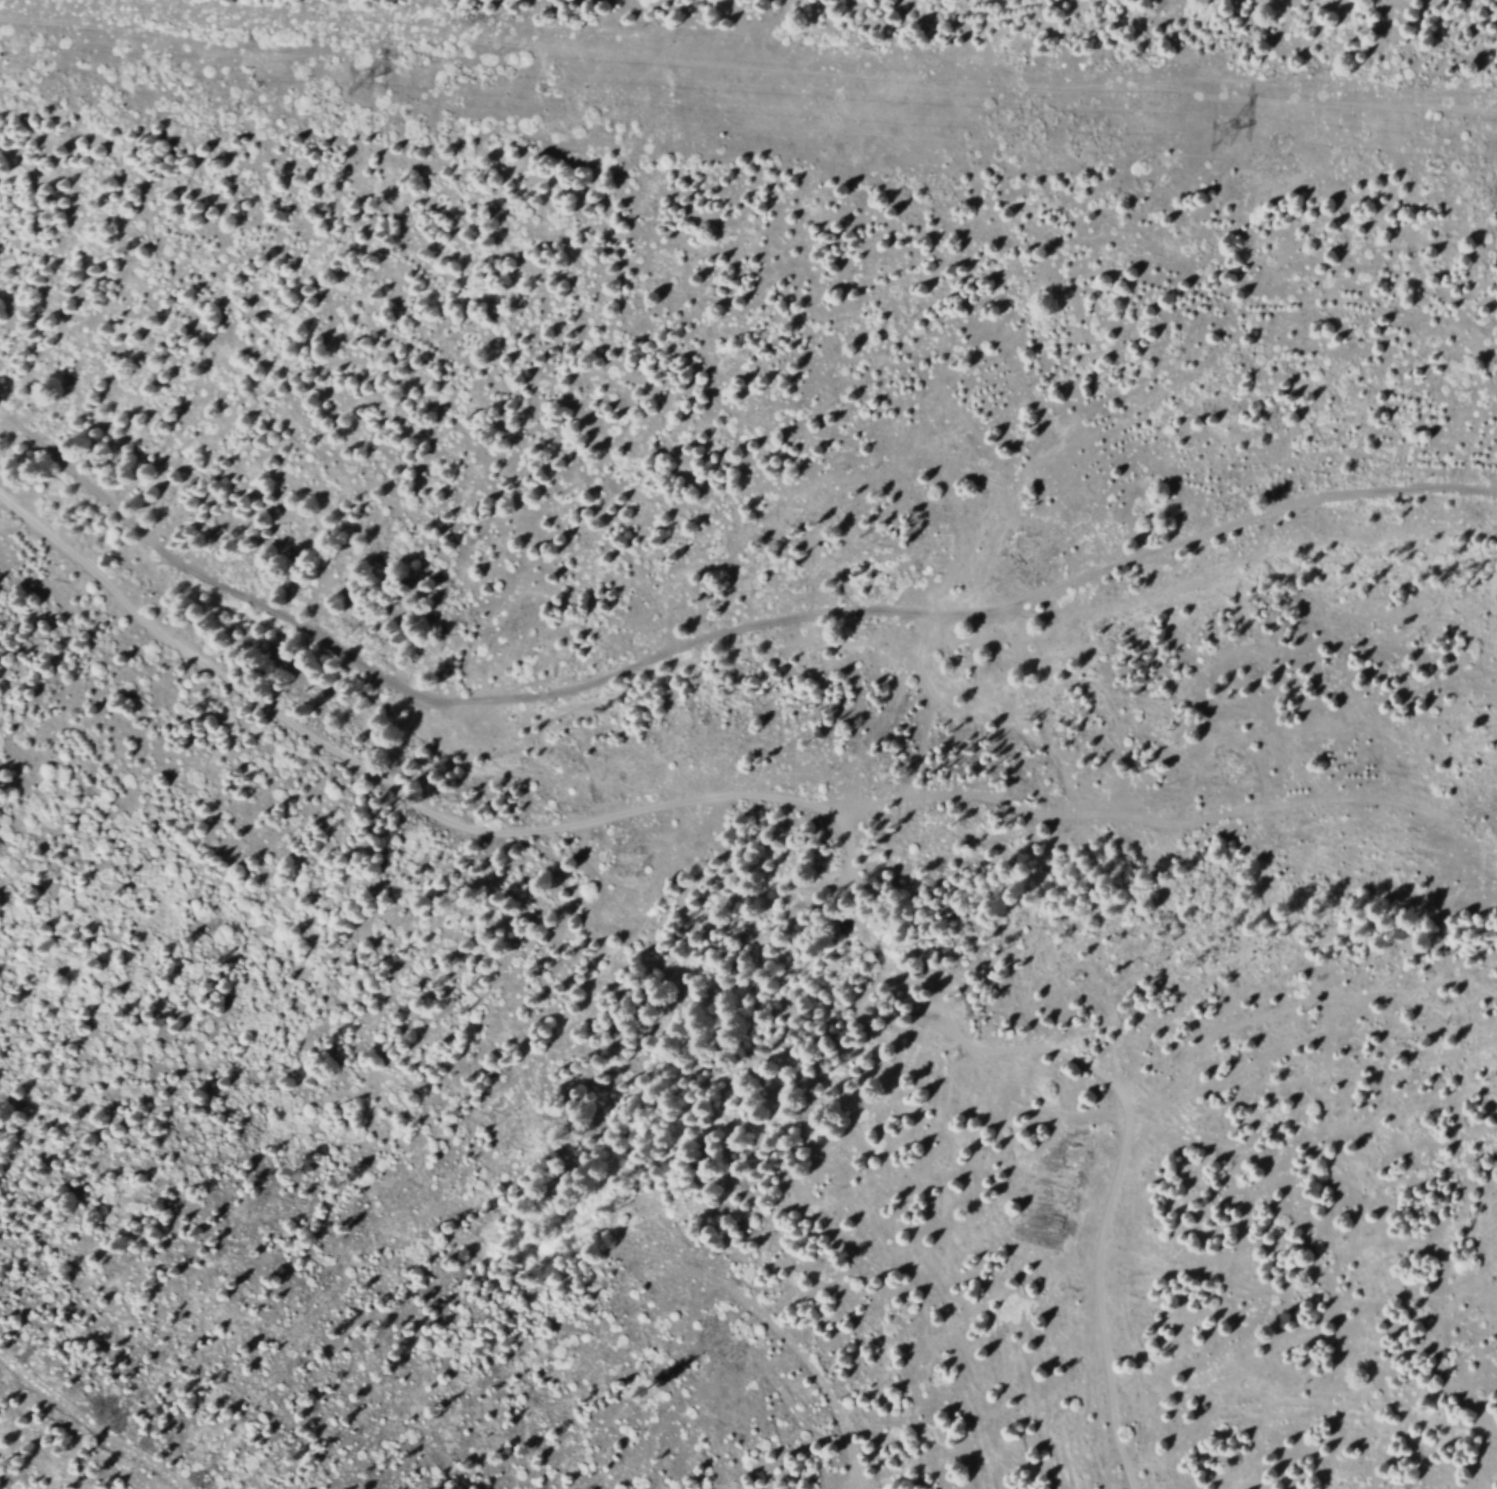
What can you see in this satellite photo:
power tower: (364, 78)
power tower: (1222, 134)
road: (718, 636)
road: (790, 799)
road: (1149, 817)
road: (807, 1364)

